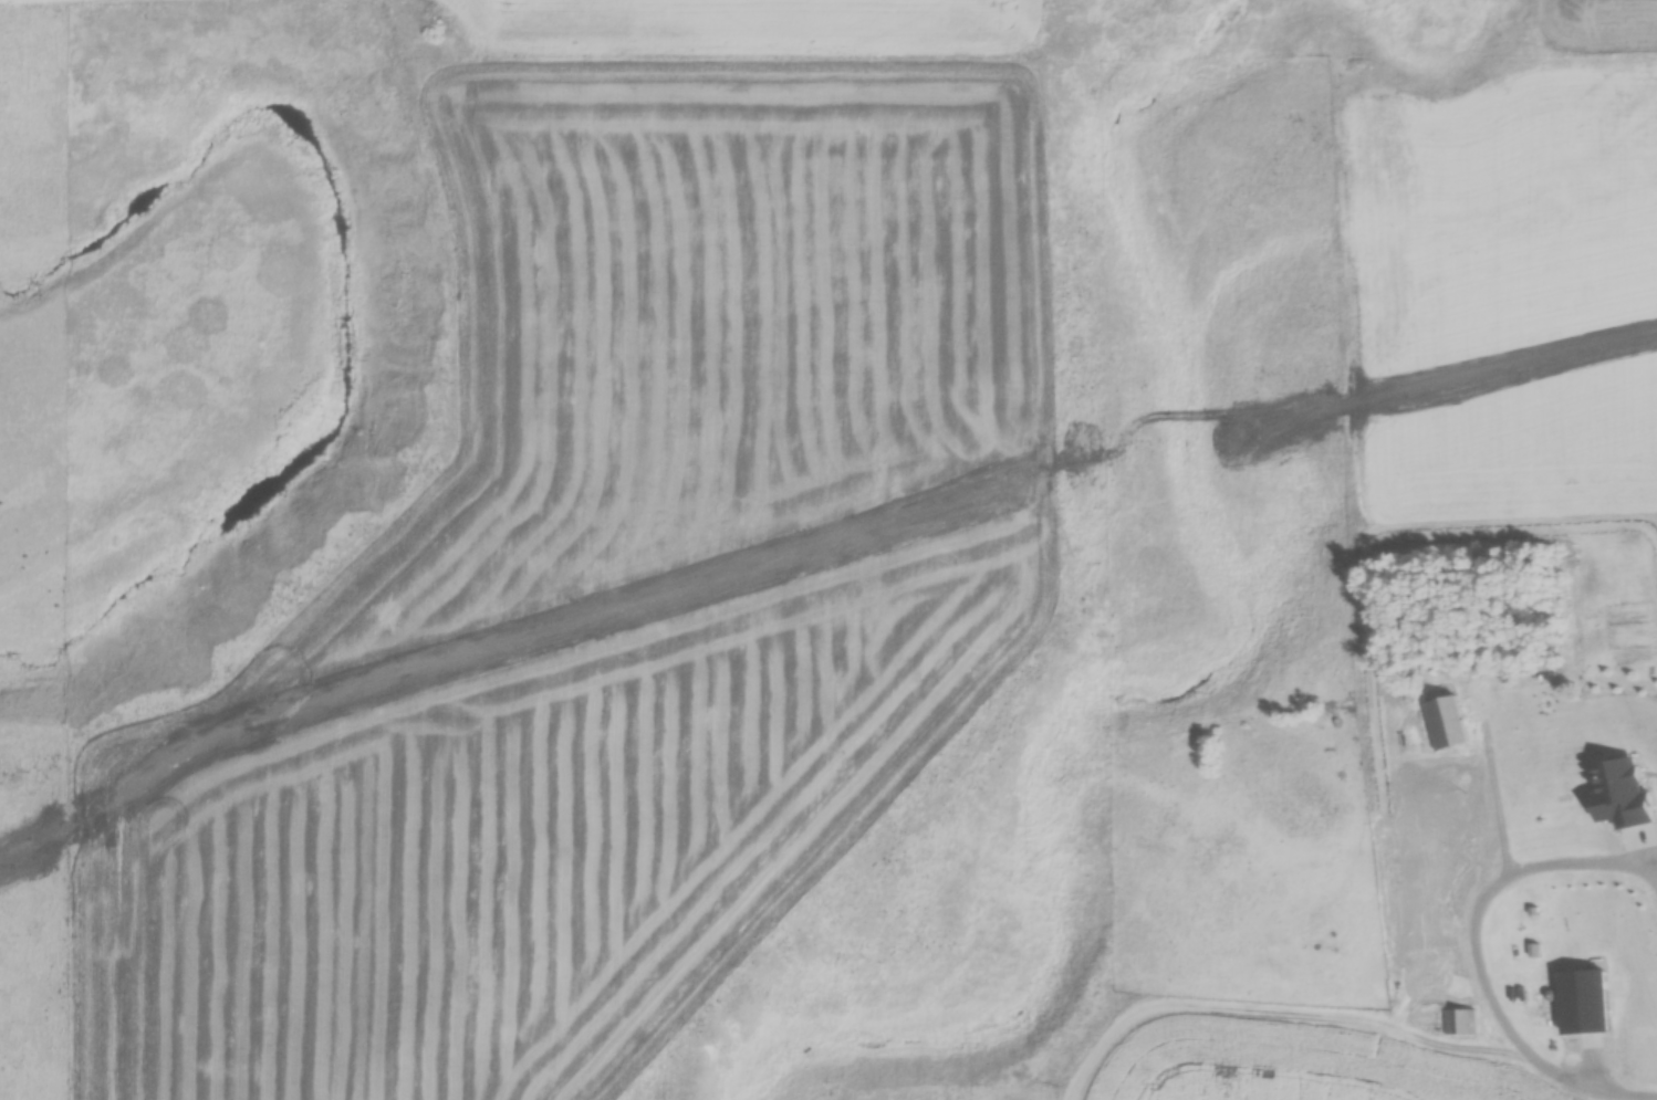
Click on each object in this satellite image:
building: (1449, 725)
building: (1557, 729)
building: (1520, 905)
building: (1582, 1010)
building: (1458, 1023)

